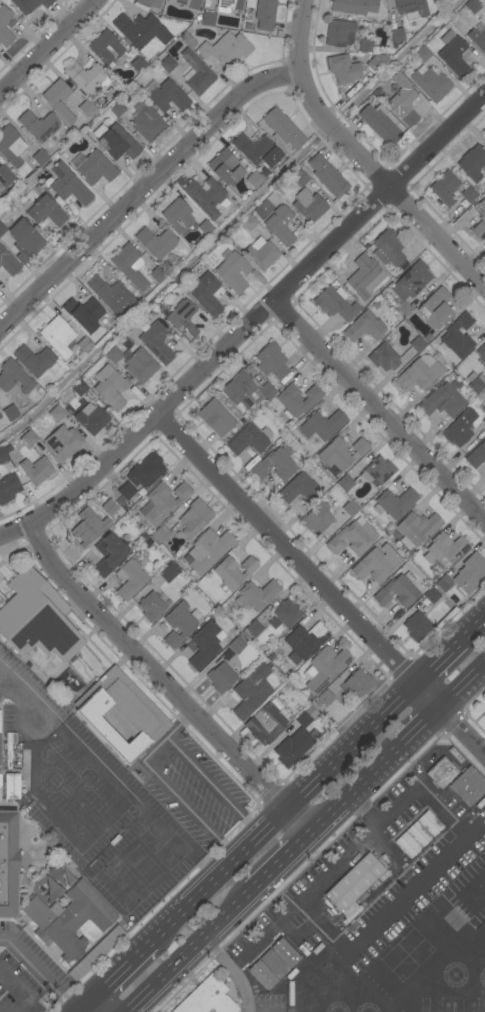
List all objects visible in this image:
building: (443, 0)
building: (149, 3)
building: (186, 3)
building: (29, 5)
building: (228, 5)
building: (484, 5)
building: (473, 6)
building: (355, 7)
building: (411, 8)
building: (264, 14)
building: (207, 19)
building: (2, 26)
building: (140, 30)
building: (339, 33)
building: (395, 36)
building: (477, 39)
building: (187, 40)
building: (365, 45)
road: (49, 47)
building: (107, 49)
building: (225, 49)
building: (452, 53)
building: (422, 54)
building: (376, 63)
building: (167, 64)
building: (138, 65)
building: (343, 69)
building: (195, 73)
building: (87, 76)
building: (430, 83)
building: (165, 95)
building: (58, 100)
building: (403, 100)
building: (88, 109)
building: (117, 109)
building: (148, 124)
building: (379, 124)
building: (41, 126)
building: (282, 129)
building: (118, 143)
building: (10, 146)
building: (252, 147)
building: (40, 157)
building: (270, 157)
road: (356, 158)
building: (472, 163)
building: (95, 168)
building: (225, 168)
building: (264, 172)
building: (5, 176)
building: (327, 176)
building: (300, 178)
building: (254, 180)
building: (67, 185)
building: (444, 188)
road: (140, 189)
building: (469, 194)
building: (206, 196)
building: (59, 202)
building: (308, 205)
building: (45, 212)
building: (177, 215)
building: (482, 219)
road: (231, 221)
building: (248, 223)
building: (279, 225)
building: (206, 227)
building: (2, 229)
building: (24, 241)
building: (155, 242)
building: (387, 248)
building: (261, 255)
building: (8, 262)
building: (129, 265)
building: (232, 271)
building: (157, 274)
building: (365, 277)
building: (258, 278)
building: (413, 279)
building: (205, 294)
building: (111, 295)
building: (335, 303)
building: (376, 306)
building: (403, 309)
building: (435, 309)
building: (84, 313)
building: (183, 319)
road: (249, 326)
building: (364, 327)
building: (58, 336)
building: (458, 336)
building: (427, 337)
building: (156, 343)
building: (417, 344)
building: (84, 345)
building: (481, 352)
building: (113, 355)
building: (126, 355)
building: (383, 357)
building: (35, 360)
building: (271, 361)
building: (140, 365)
building: (419, 373)
building: (471, 376)
building: (13, 378)
building: (477, 384)
building: (110, 387)
building: (79, 388)
building: (239, 390)
building: (267, 391)
building: (297, 400)
building: (442, 400)
road: (379, 409)
building: (9, 412)
building: (56, 413)
building: (0, 416)
building: (91, 418)
building: (215, 418)
building: (484, 421)
building: (322, 425)
building: (459, 428)
building: (28, 438)
building: (249, 439)
building: (63, 442)
building: (341, 453)
building: (3, 455)
building: (476, 455)
building: (275, 465)
building: (36, 470)
building: (146, 471)
building: (377, 471)
building: (345, 483)
building: (8, 488)
building: (299, 489)
building: (126, 491)
building: (120, 502)
building: (162, 502)
building: (394, 503)
building: (110, 508)
building: (350, 508)
building: (194, 518)
building: (317, 519)
building: (417, 529)
building: (85, 531)
building: (160, 535)
building: (144, 537)
building: (353, 537)
building: (138, 542)
building: (444, 549)
building: (208, 550)
building: (109, 554)
building: (376, 563)
building: (234, 571)
building: (169, 572)
building: (470, 573)
building: (130, 578)
building: (443, 583)
road: (322, 586)
building: (397, 591)
building: (258, 594)
building: (431, 595)
building: (1, 603)
building: (151, 606)
building: (287, 613)
building: (263, 617)
building: (37, 623)
building: (179, 623)
building: (416, 626)
building: (254, 629)
road: (472, 632)
building: (304, 642)
building: (205, 644)
building: (237, 646)
building: (270, 658)
road: (438, 664)
building: (325, 668)
building: (277, 674)
building: (221, 677)
building: (357, 684)
road: (163, 685)
road: (10, 687)
road: (463, 687)
building: (251, 691)
building: (309, 698)
building: (326, 698)
building: (297, 707)
building: (484, 713)
building: (120, 715)
building: (303, 719)
building: (265, 723)
road: (422, 726)
building: (12, 747)
building: (292, 748)
building: (0, 754)
road: (159, 755)
building: (441, 772)
road: (107, 773)
building: (468, 785)
building: (10, 786)
parking lot: (192, 788)
road: (356, 791)
road: (62, 792)
parking lot: (92, 805)
road: (46, 811)
road: (284, 813)
road: (363, 813)
building: (429, 823)
building: (418, 834)
road: (363, 840)
building: (407, 845)
road: (138, 856)
road: (282, 863)
building: (8, 865)
building: (354, 882)
building: (68, 919)
road: (191, 951)
building: (286, 953)
building: (92, 957)
building: (274, 964)
road: (37, 973)
road: (231, 974)
building: (263, 976)
road: (112, 977)
road: (19, 990)
building: (207, 998)

